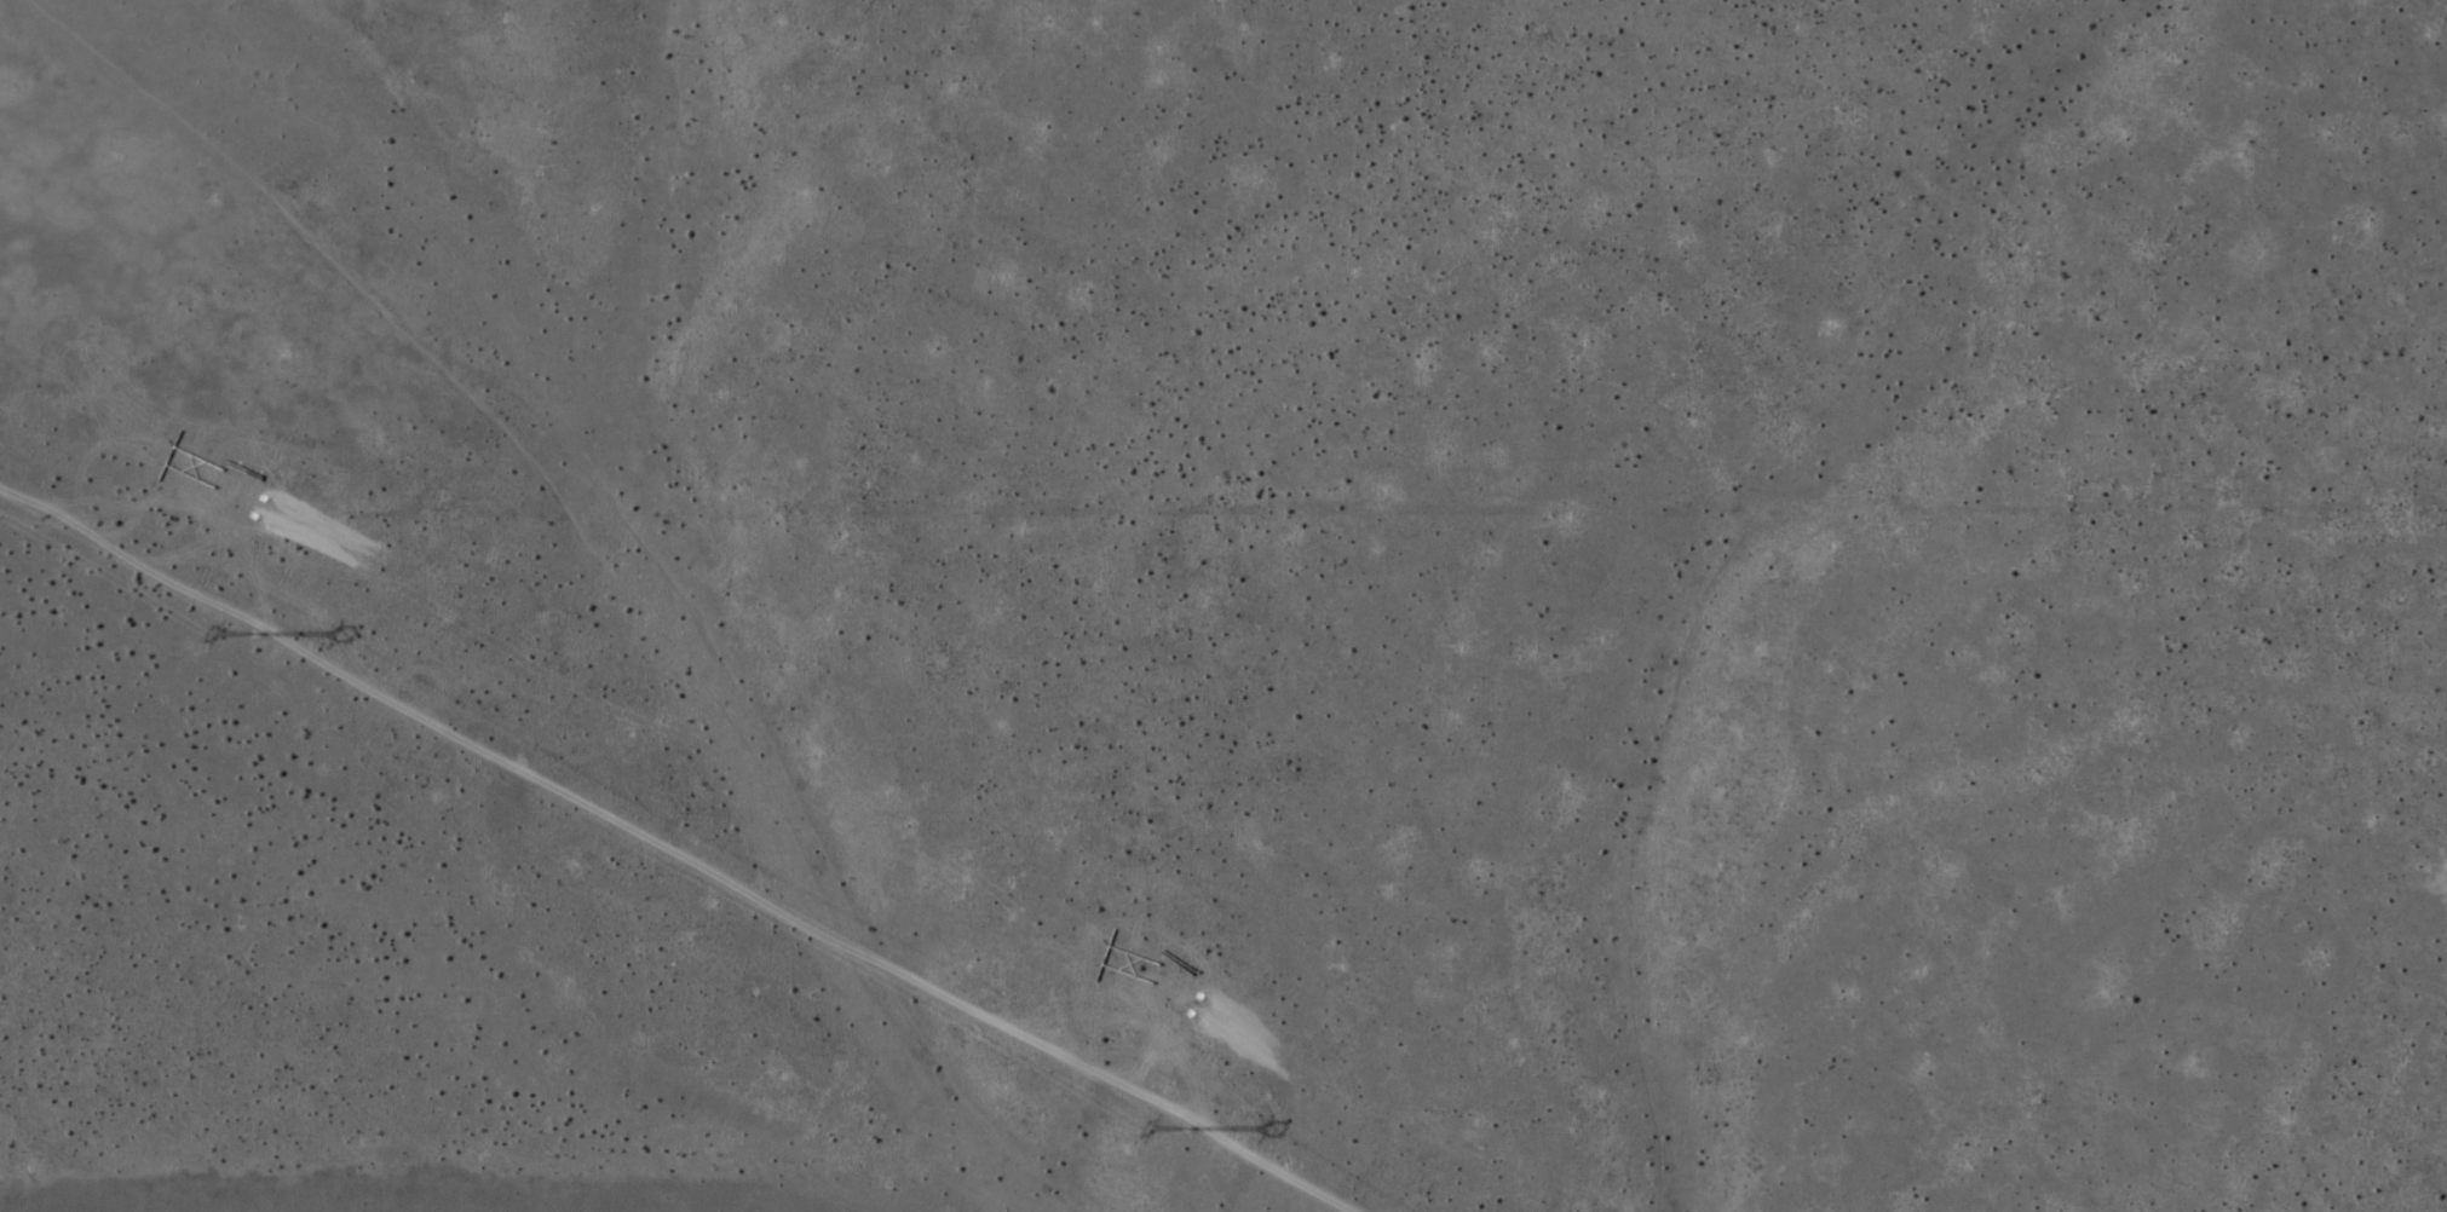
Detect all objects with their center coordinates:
power tower: (253, 630)
power tower: (1185, 1132)

